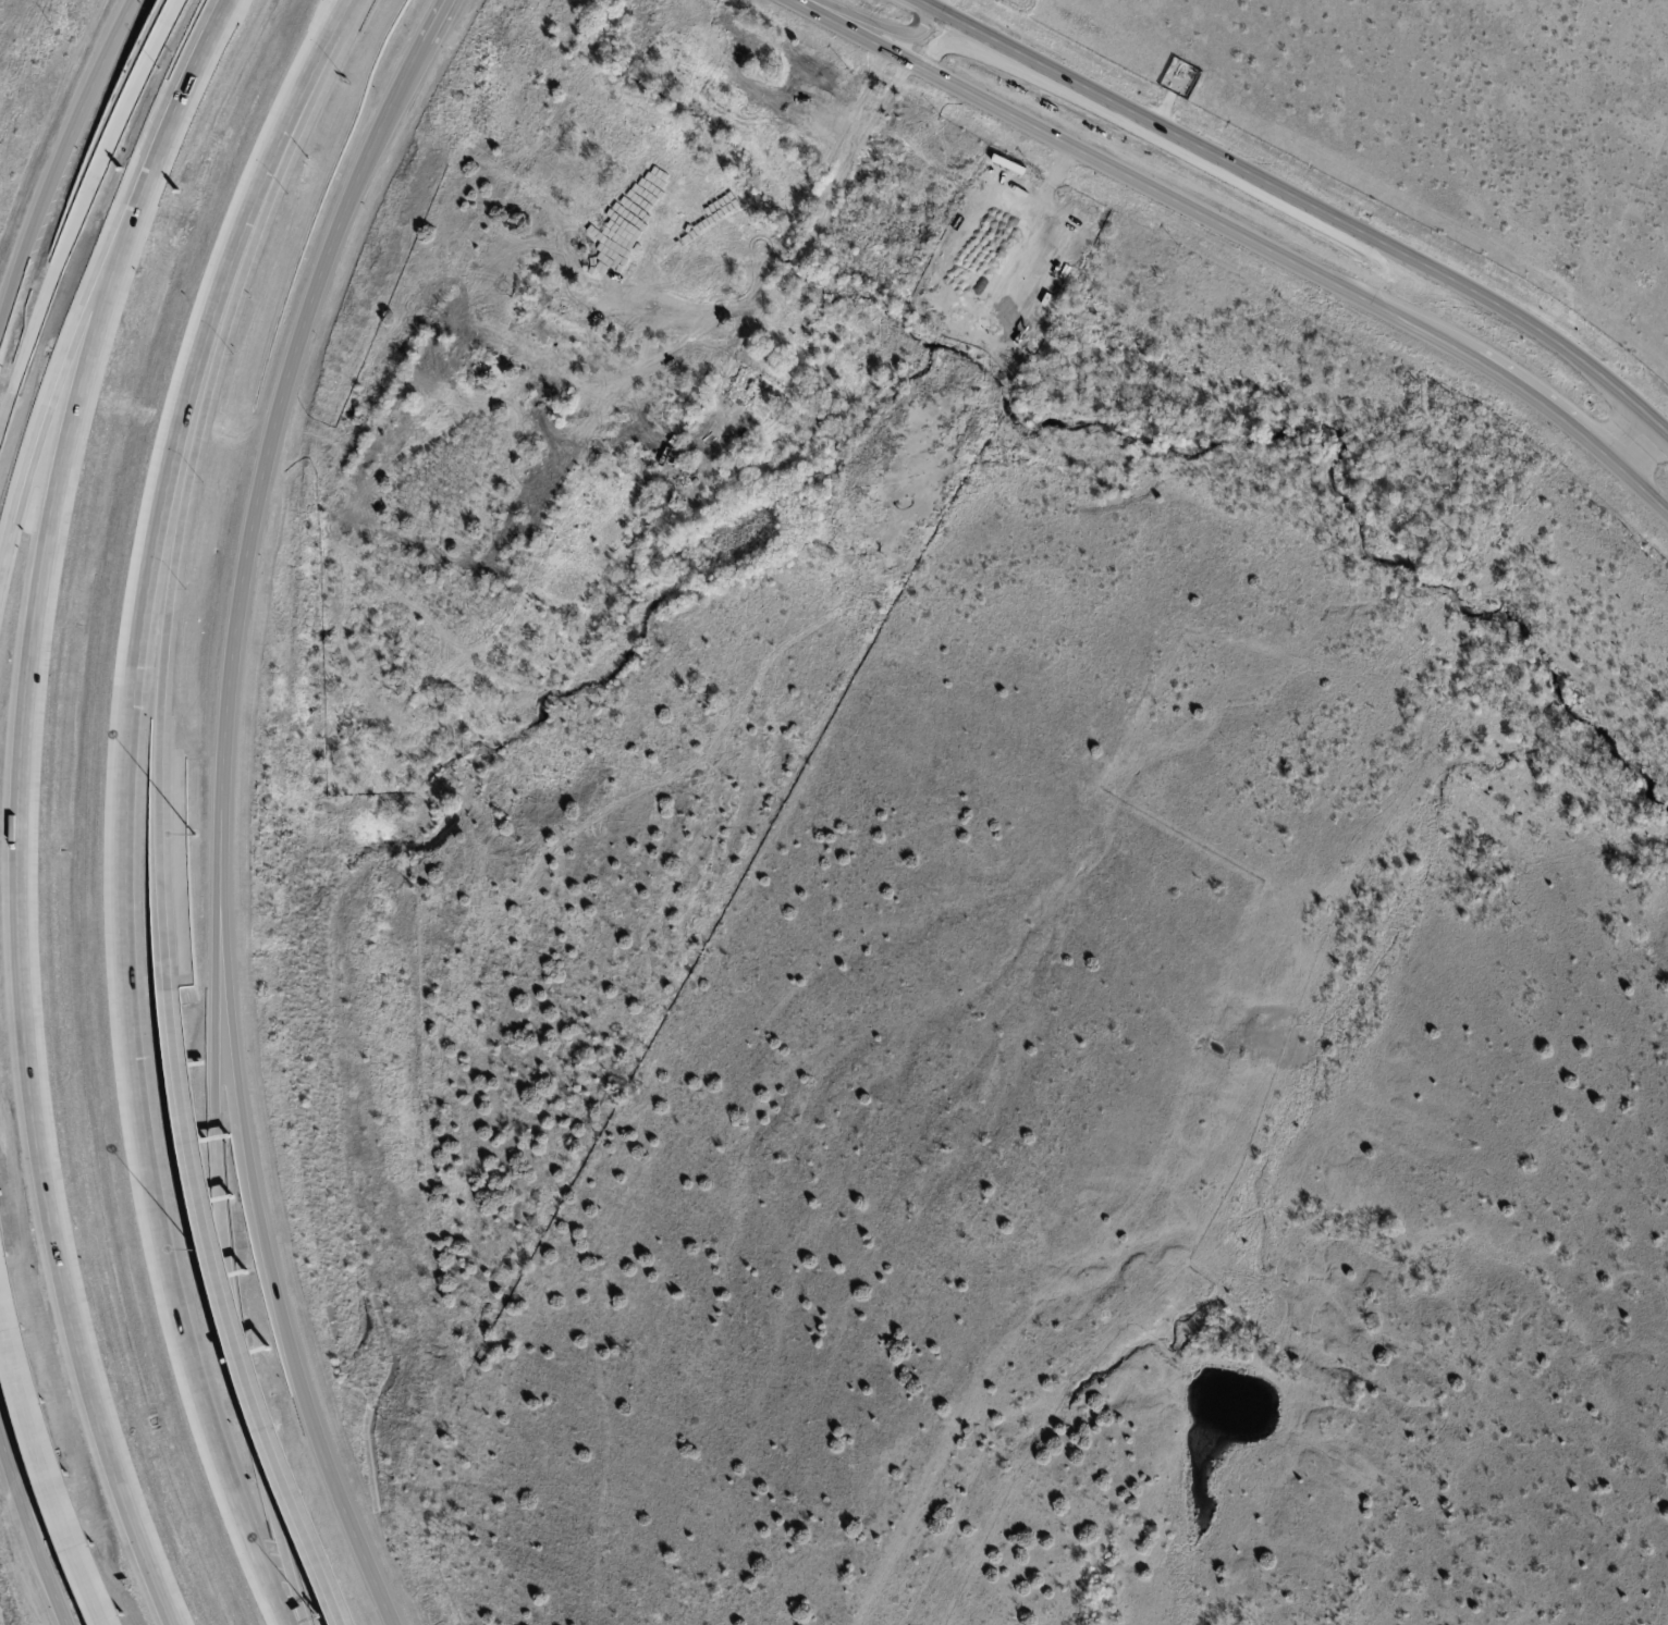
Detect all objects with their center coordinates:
road: (936, 3)
road: (433, 22)
road: (869, 25)
road: (1020, 69)
building: (809, 81)
road: (296, 111)
road: (162, 136)
road: (57, 162)
road: (1121, 174)
road: (805, 197)
road: (1296, 200)
building: (967, 206)
road: (826, 207)
road: (79, 211)
building: (561, 321)
building: (441, 324)
building: (566, 346)
building: (749, 395)
building: (400, 398)
building: (541, 401)
road: (1535, 403)
road: (44, 416)
road: (1663, 428)
building: (709, 436)
road: (1634, 444)
building: (687, 445)
building: (768, 459)
building: (678, 480)
road: (1640, 490)
building: (538, 492)
road: (177, 550)
road: (224, 830)
road: (134, 930)
road: (13, 958)
road: (225, 1218)
road: (209, 1254)
road: (45, 1467)
road: (30, 1537)
road: (339, 1618)

